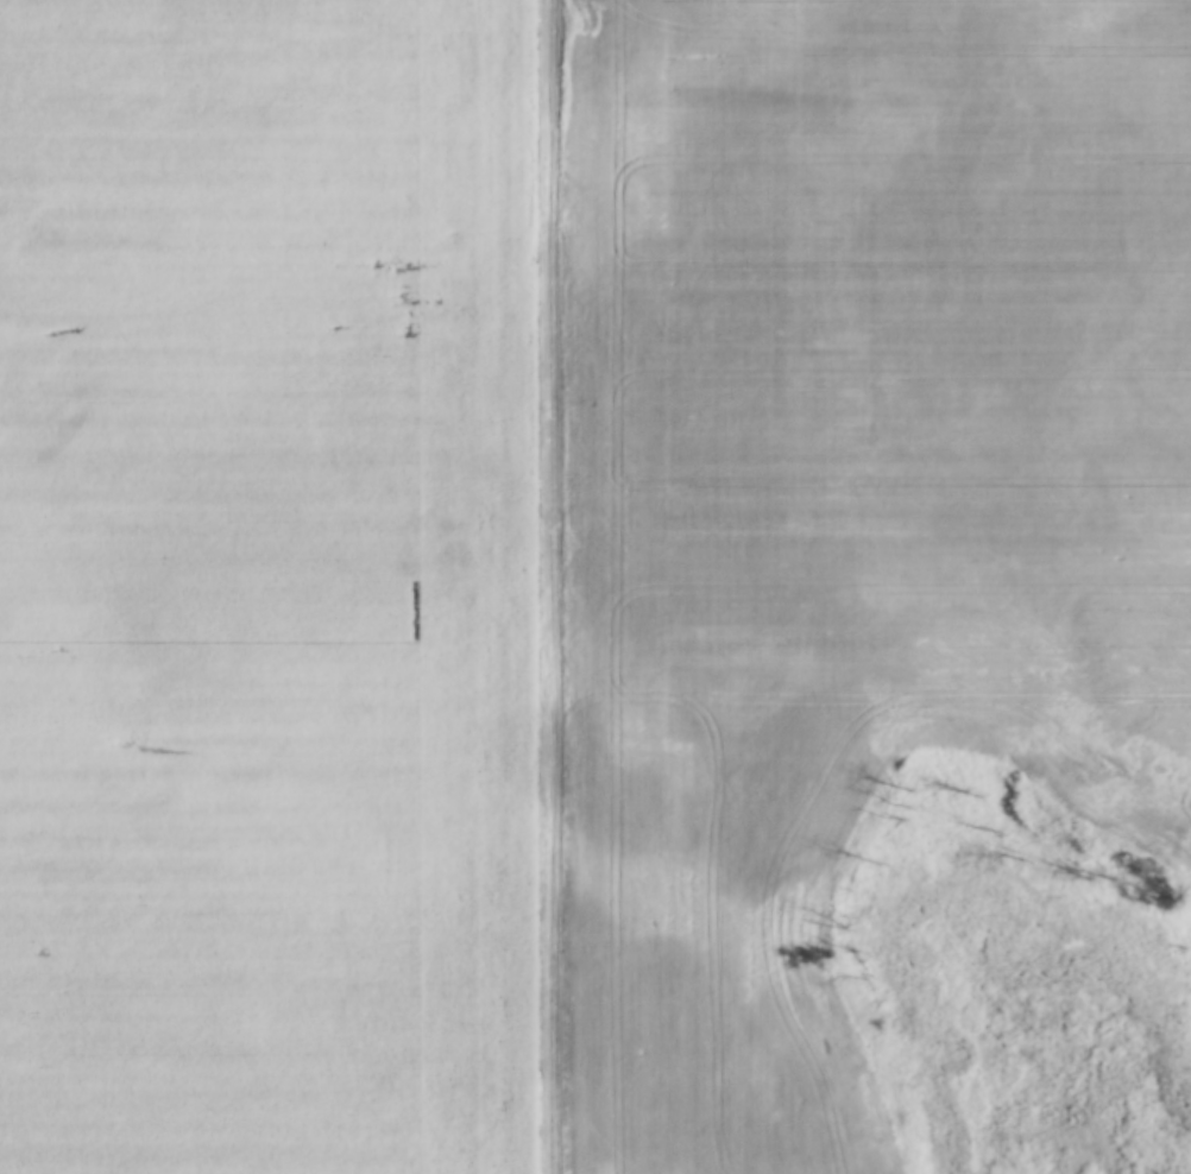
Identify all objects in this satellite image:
road: (565, 586)

